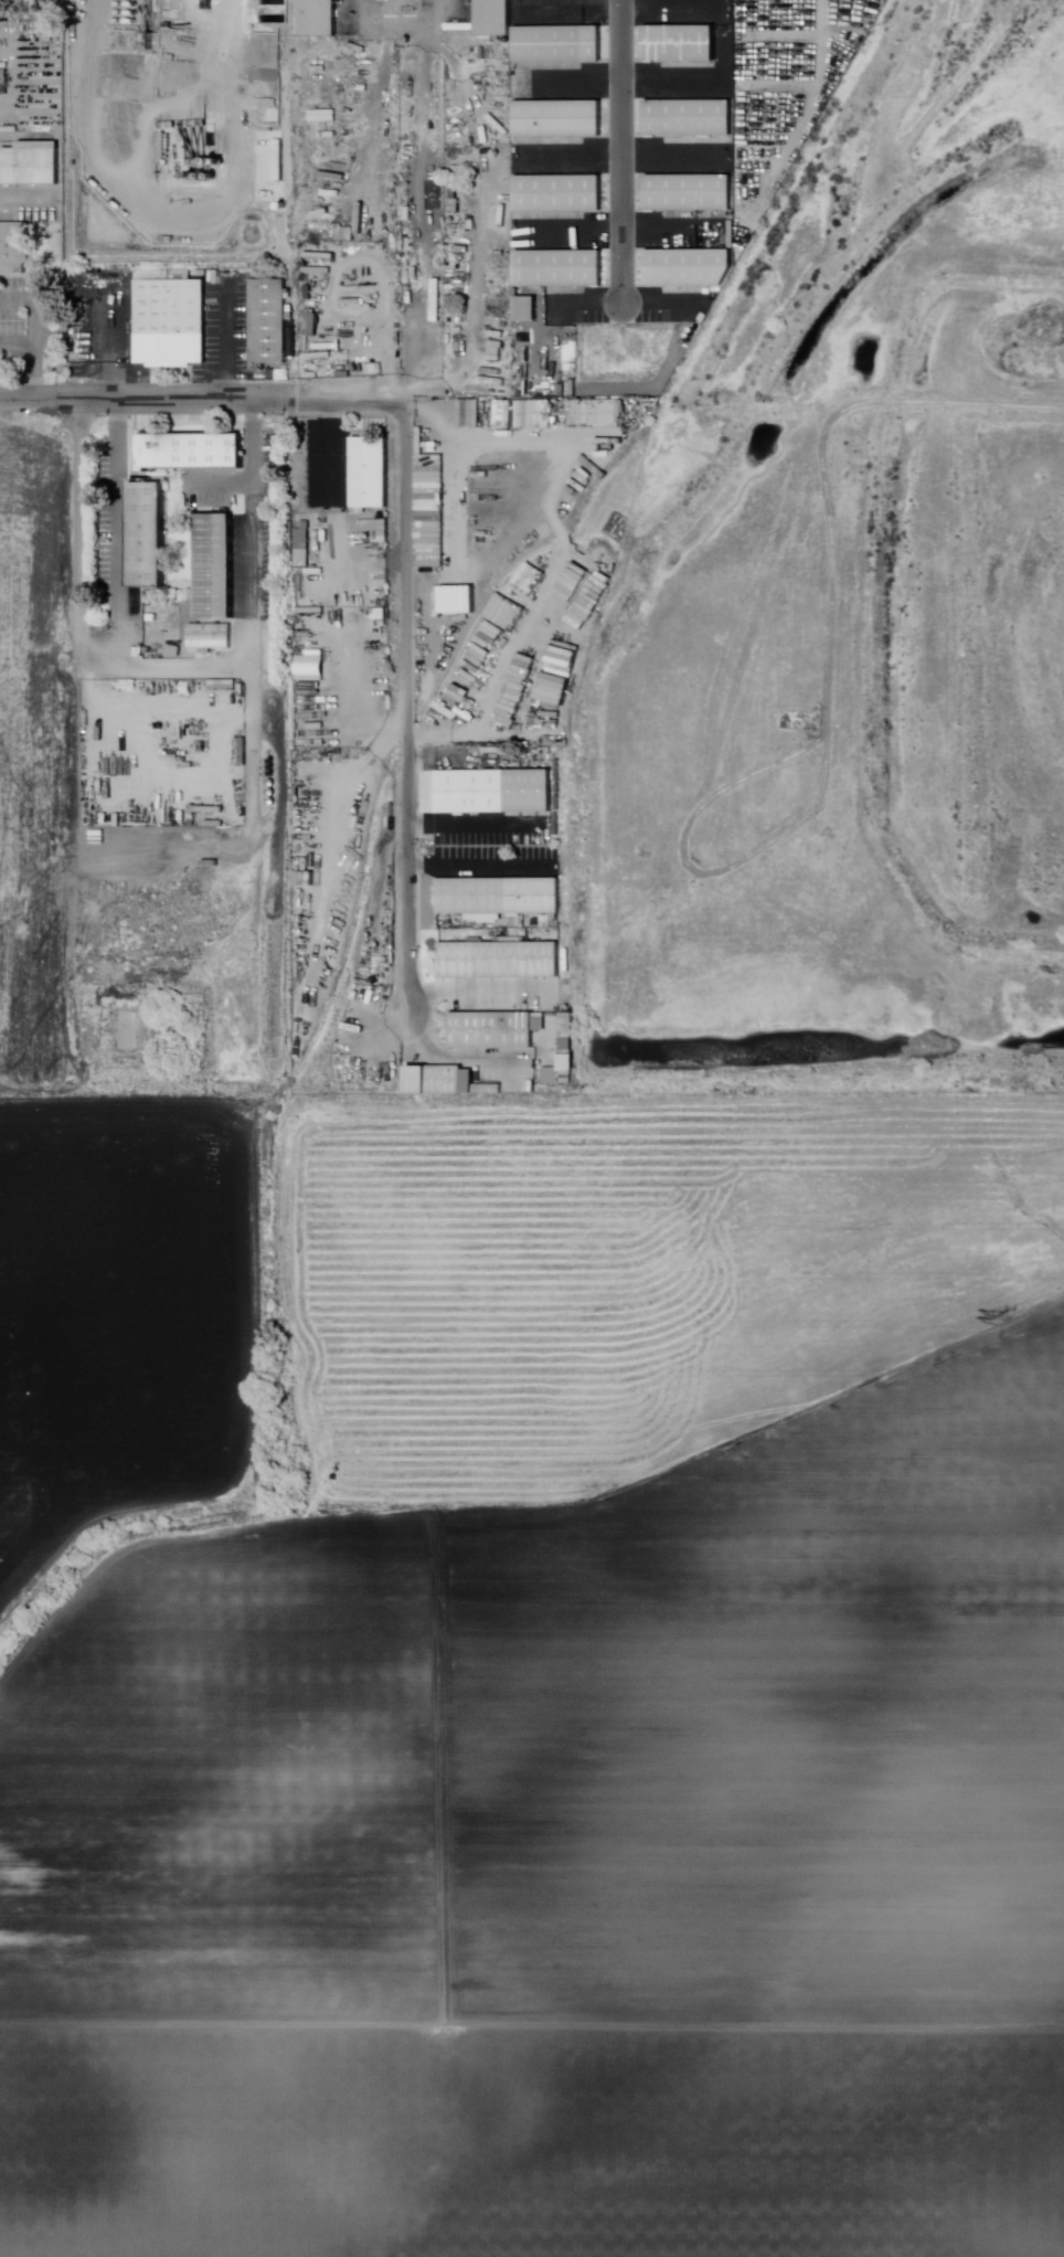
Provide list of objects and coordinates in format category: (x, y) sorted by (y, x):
road: (624, 3)
building: (321, 18)
building: (497, 18)
road: (400, 25)
building: (684, 42)
building: (561, 44)
road: (623, 77)
building: (323, 116)
building: (562, 118)
building: (693, 118)
road: (619, 151)
road: (624, 157)
building: (34, 165)
building: (455, 178)
building: (563, 193)
building: (692, 193)
building: (455, 202)
road: (619, 229)
building: (15, 248)
building: (321, 256)
building: (692, 267)
building: (563, 268)
building: (413, 276)
building: (437, 300)
building: (360, 301)
building: (409, 303)
building: (529, 309)
building: (173, 322)
building: (270, 322)
building: (312, 324)
storage tank: (703, 331)
road: (34, 332)
storage tank: (700, 337)
road: (18, 342)
storage tank: (696, 342)
road: (222, 345)
road: (108, 352)
building: (379, 369)
road: (203, 402)
building: (194, 453)
building: (373, 473)
building: (375, 526)
building: (150, 534)
building: (304, 545)
building: (219, 568)
building: (589, 590)
building: (155, 614)
building: (212, 637)
road: (180, 666)
building: (223, 686)
road: (408, 714)
building: (317, 727)
building: (245, 752)
storage tank: (276, 764)
storage tank: (276, 771)
storage tank: (276, 777)
storage tank: (274, 785)
building: (497, 793)
storage tank: (274, 794)
storage tank: (274, 804)
building: (502, 898)
building: (503, 962)
building: (543, 1026)
building: (570, 1027)
building: (493, 1032)
building: (570, 1046)
building: (561, 1078)
building: (445, 1082)
building: (493, 1091)
crop: (634, 1276)
crop: (124, 1318)
crop: (562, 1864)

